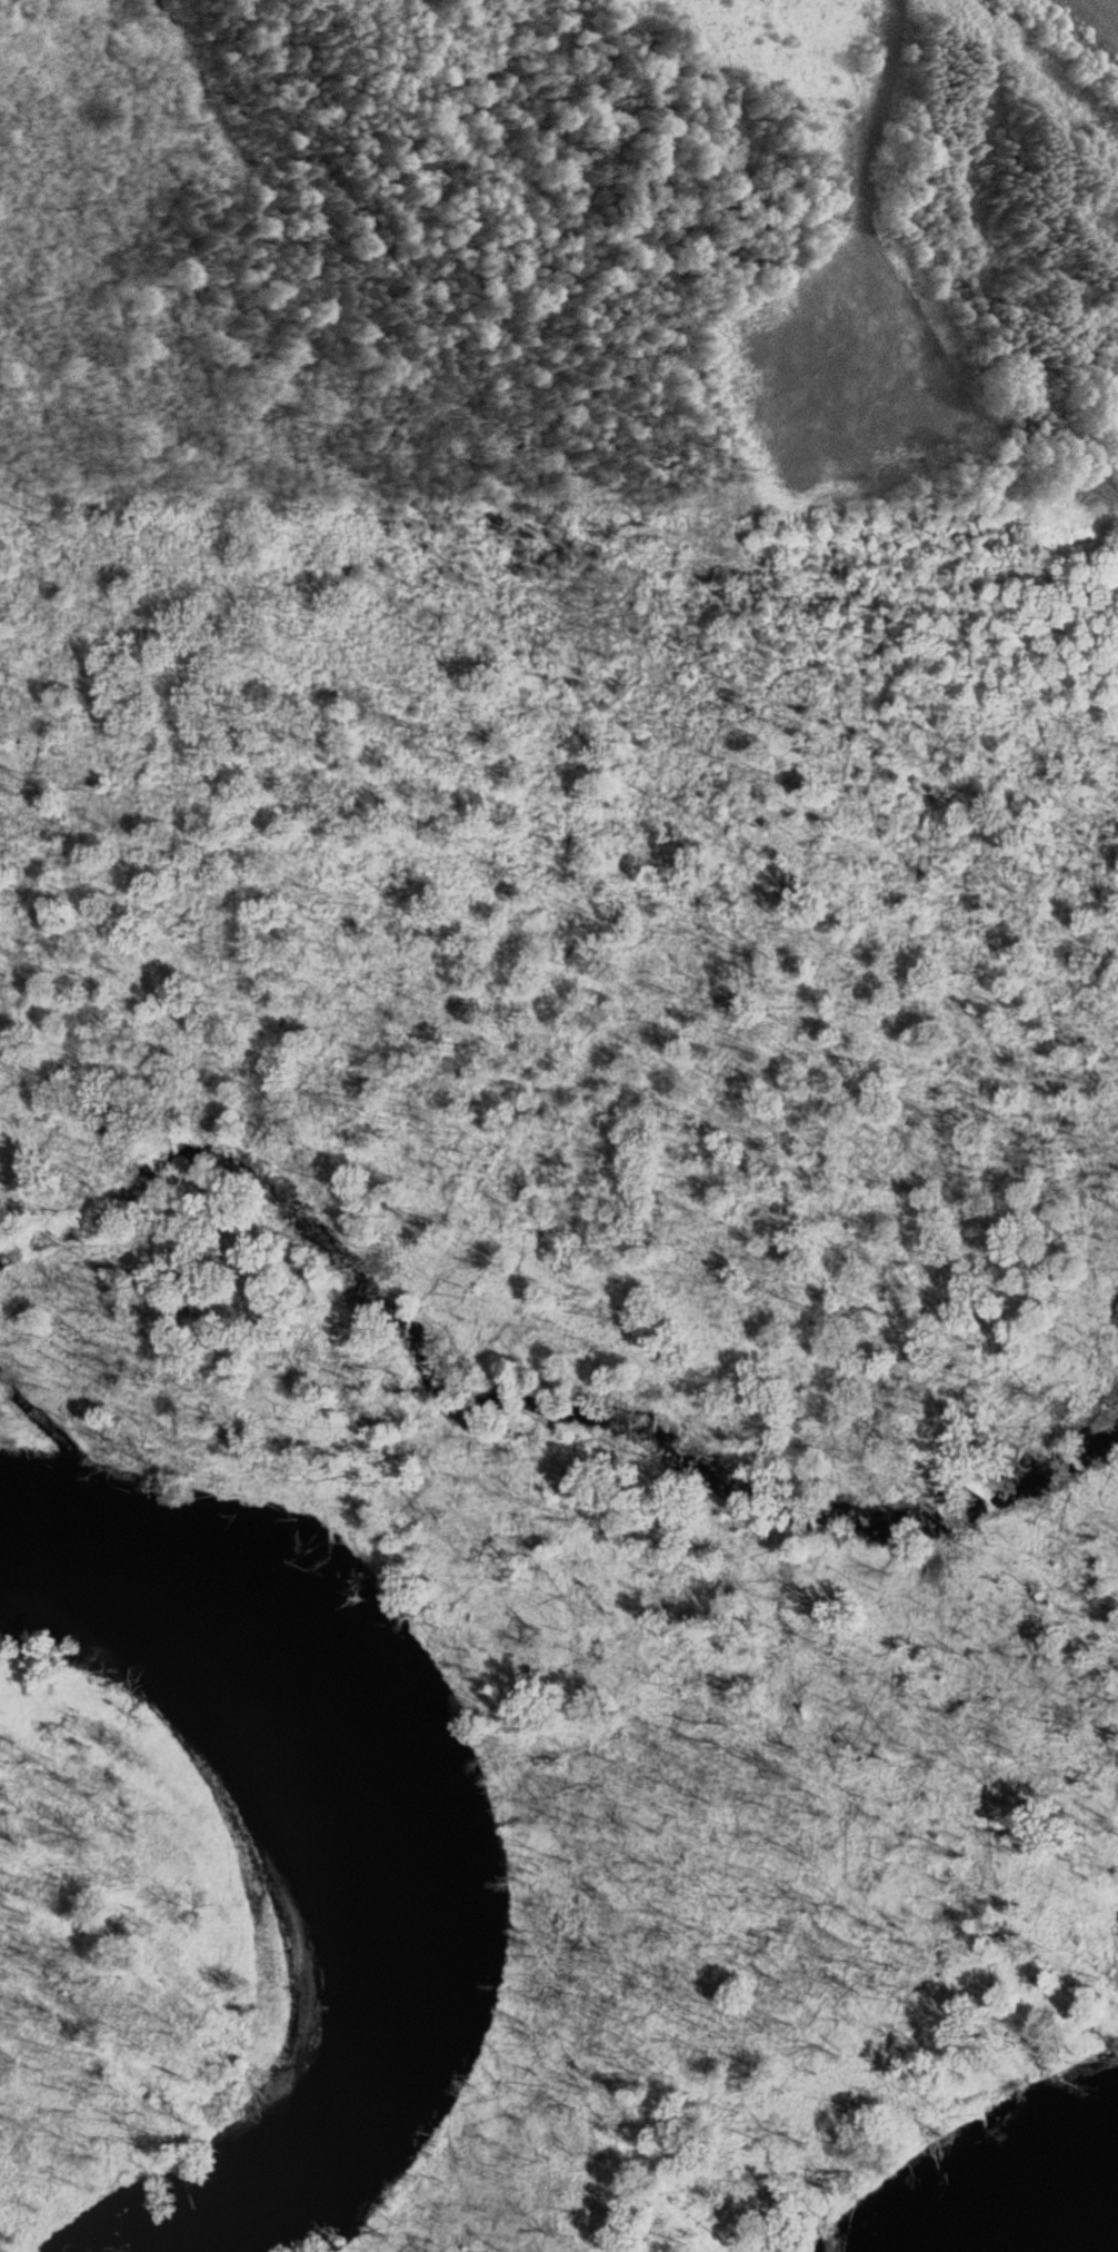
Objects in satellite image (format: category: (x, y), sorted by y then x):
airport: (1106, 13)
road: (886, 46)
river: (383, 1816)
river: (1085, 2232)

